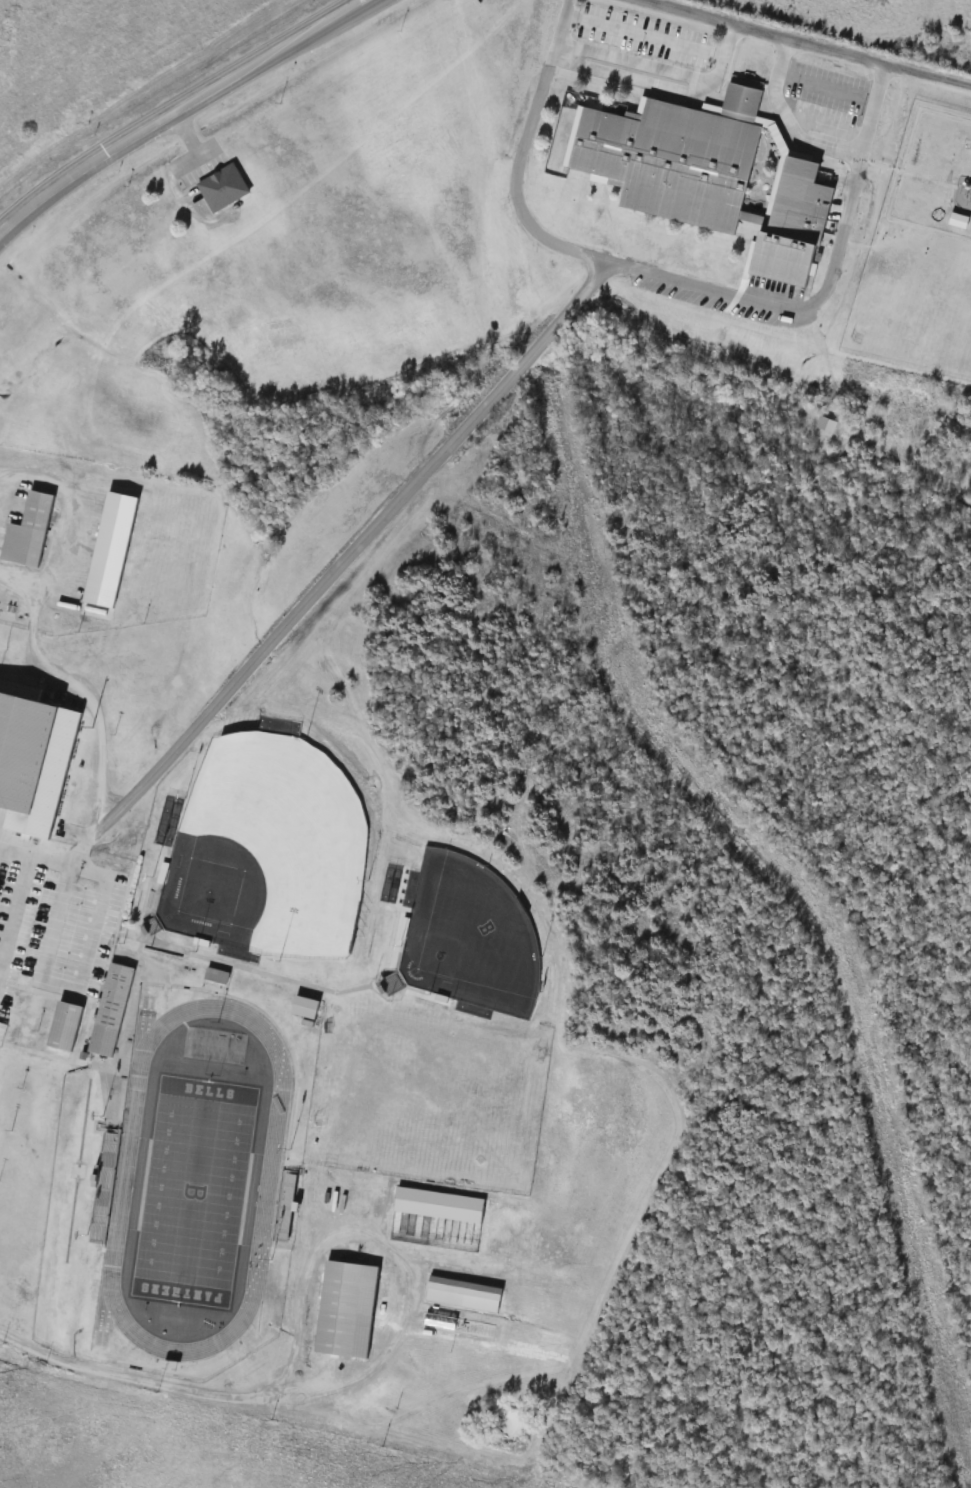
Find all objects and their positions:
road: (658, 35)
road: (805, 43)
road: (814, 81)
road: (175, 111)
building: (678, 156)
road: (519, 165)
building: (221, 185)
building: (961, 220)
road: (846, 224)
building: (796, 225)
road: (683, 279)
building: (828, 425)
building: (30, 531)
building: (110, 556)
road: (319, 587)
road: (75, 683)
building: (33, 756)
building: (219, 976)
building: (306, 1007)
building: (112, 1009)
building: (66, 1025)
building: (105, 1184)
building: (287, 1203)
building: (441, 1204)
road: (397, 1250)
building: (464, 1293)
building: (348, 1308)
building: (461, 1325)
road: (119, 1372)

